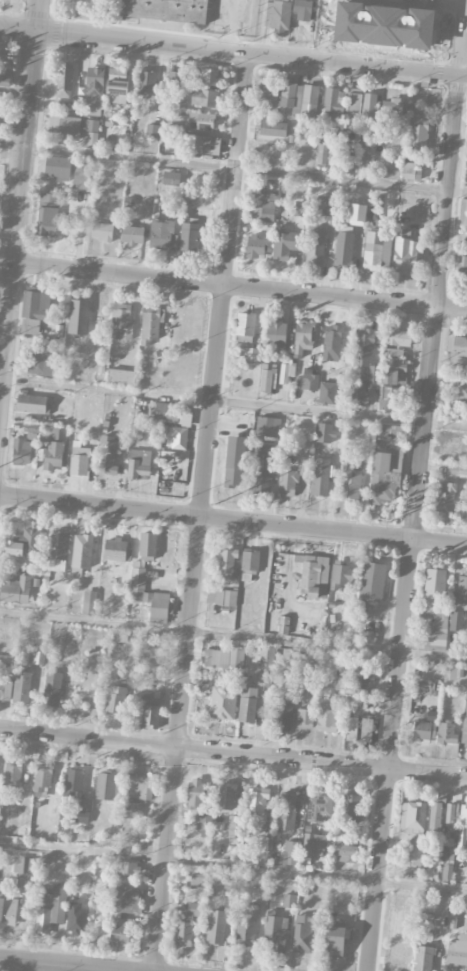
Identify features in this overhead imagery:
building: (167, 10)
building: (302, 10)
building: (278, 15)
road: (232, 25)
road: (233, 50)
building: (3, 53)
building: (4, 75)
building: (180, 75)
building: (209, 76)
building: (147, 81)
building: (64, 82)
building: (94, 82)
building: (117, 84)
building: (270, 95)
building: (203, 97)
building: (297, 98)
building: (1, 99)
building: (332, 101)
building: (369, 107)
building: (392, 107)
building: (353, 110)
building: (0, 115)
building: (201, 120)
building: (70, 126)
building: (272, 128)
building: (152, 130)
building: (418, 131)
building: (202, 144)
building: (322, 153)
building: (366, 159)
building: (57, 167)
road: (233, 168)
building: (409, 170)
building: (171, 178)
road: (19, 192)
building: (324, 205)
building: (267, 210)
building: (204, 212)
building: (48, 214)
building: (357, 214)
building: (102, 231)
building: (161, 233)
building: (132, 234)
building: (189, 235)
building: (285, 243)
building: (315, 245)
building: (256, 246)
building: (343, 248)
building: (377, 250)
building: (405, 256)
building: (462, 266)
road: (233, 284)
building: (33, 310)
building: (78, 316)
building: (122, 321)
building: (245, 323)
building: (150, 324)
building: (275, 332)
building: (398, 336)
building: (302, 338)
building: (332, 342)
building: (458, 345)
building: (367, 353)
building: (41, 360)
building: (391, 370)
building: (286, 371)
building: (121, 376)
building: (267, 379)
building: (309, 380)
building: (460, 391)
building: (327, 392)
building: (358, 393)
building: (385, 397)
road: (233, 401)
building: (30, 403)
building: (168, 412)
building: (268, 426)
building: (391, 430)
building: (177, 437)
building: (21, 451)
building: (52, 455)
building: (106, 455)
building: (79, 459)
building: (234, 460)
building: (139, 464)
building: (263, 467)
building: (457, 469)
building: (385, 475)
building: (320, 476)
building: (292, 477)
building: (351, 483)
road: (418, 485)
building: (445, 496)
power tower: (211, 504)
road: (201, 511)
road: (233, 520)
power tower: (402, 523)
building: (25, 543)
building: (147, 545)
building: (114, 549)
building: (57, 550)
building: (82, 550)
building: (250, 561)
building: (227, 563)
building: (341, 574)
building: (315, 575)
building: (372, 581)
building: (462, 586)
building: (15, 589)
building: (149, 597)
building: (221, 597)
building: (89, 602)
building: (435, 606)
building: (455, 620)
building: (283, 623)
building: (366, 636)
road: (434, 656)
building: (36, 657)
building: (224, 657)
building: (6, 663)
building: (265, 665)
building: (284, 676)
building: (354, 680)
building: (22, 686)
building: (425, 687)
building: (52, 688)
building: (5, 690)
building: (116, 696)
building: (247, 701)
building: (223, 703)
building: (150, 713)
building: (282, 713)
building: (327, 714)
building: (304, 718)
building: (465, 720)
building: (423, 730)
building: (446, 733)
road: (233, 754)
building: (13, 774)
building: (43, 777)
building: (74, 780)
building: (119, 781)
building: (105, 785)
building: (138, 790)
building: (227, 795)
building: (257, 799)
building: (351, 805)
building: (200, 806)
building: (319, 807)
building: (131, 810)
building: (287, 811)
building: (82, 813)
building: (451, 817)
building: (434, 819)
building: (234, 827)
building: (462, 829)
building: (413, 830)
building: (447, 839)
building: (313, 843)
building: (343, 852)
building: (290, 853)
road: (233, 868)
building: (23, 871)
building: (447, 871)
building: (197, 881)
building: (50, 907)
building: (7, 908)
building: (116, 915)
building: (247, 922)
building: (186, 923)
building: (216, 926)
building: (276, 932)
building: (303, 933)
building: (335, 940)
building: (457, 952)
building: (424, 958)
road: (47, 966)

